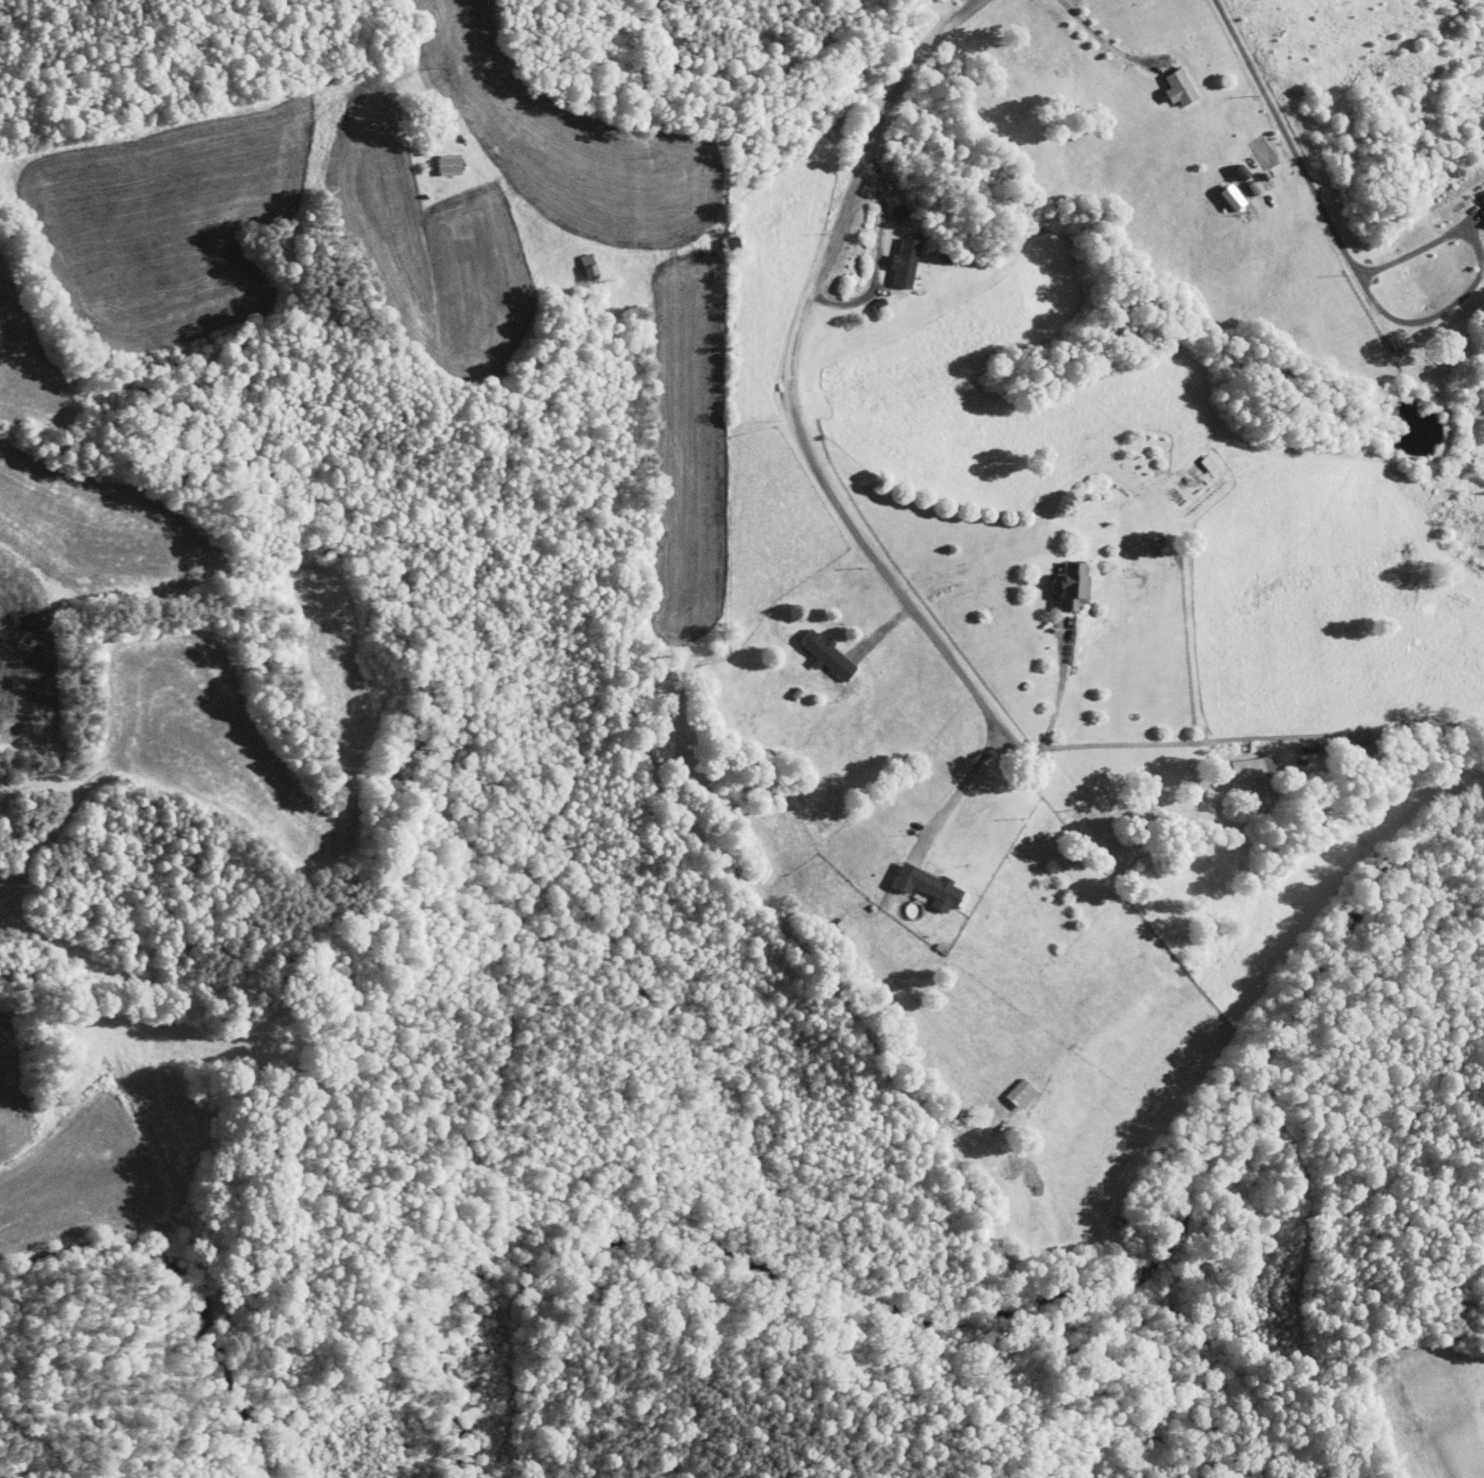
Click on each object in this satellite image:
road: (961, 8)
road: (1099, 39)
building: (1166, 81)
road: (1284, 133)
building: (436, 158)
building: (1229, 166)
building: (1219, 191)
building: (1479, 198)
building: (885, 206)
road: (836, 231)
building: (893, 257)
road: (1477, 277)
building: (865, 298)
road: (802, 328)
building: (1196, 457)
building: (1060, 580)
building: (813, 649)
road: (1060, 688)
road: (1138, 744)
building: (1239, 761)
road: (966, 780)
building: (915, 879)
building: (1007, 1087)

